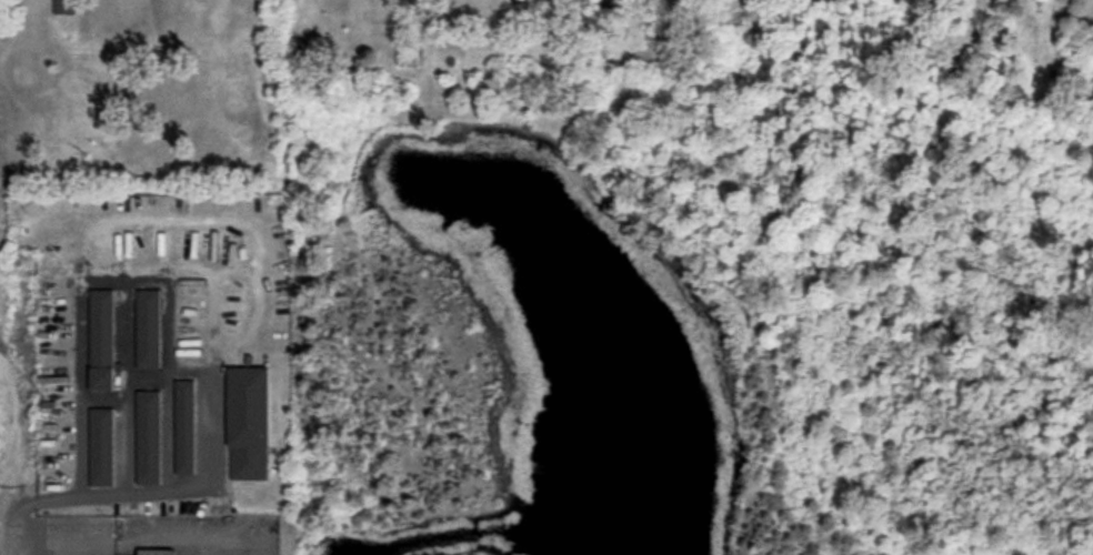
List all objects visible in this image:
building: (63, 7)
road: (259, 248)
building: (147, 327)
building: (100, 339)
building: (247, 423)
building: (183, 425)
building: (148, 436)
building: (100, 446)
road: (13, 526)
road: (176, 541)
road: (64, 546)
building: (156, 552)

